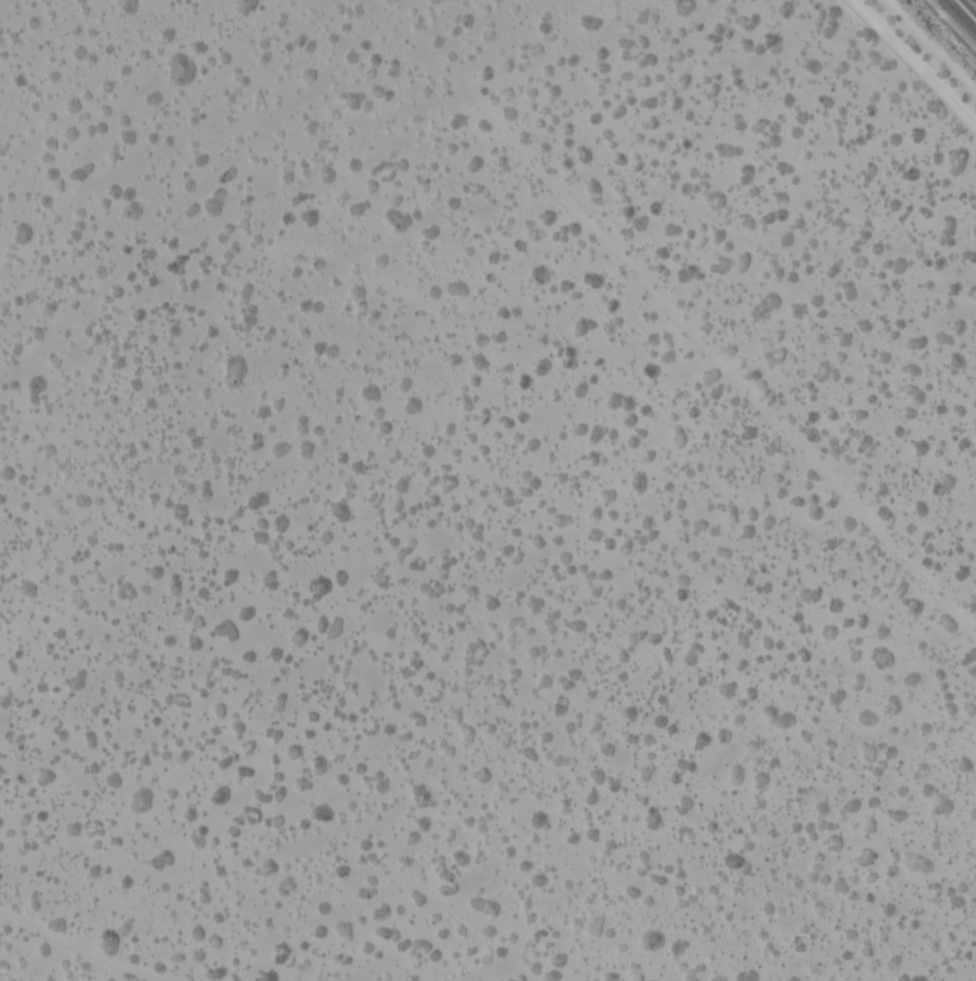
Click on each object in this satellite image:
railway: (967, 9)
railway: (959, 17)
road: (909, 70)
road: (99, 929)

